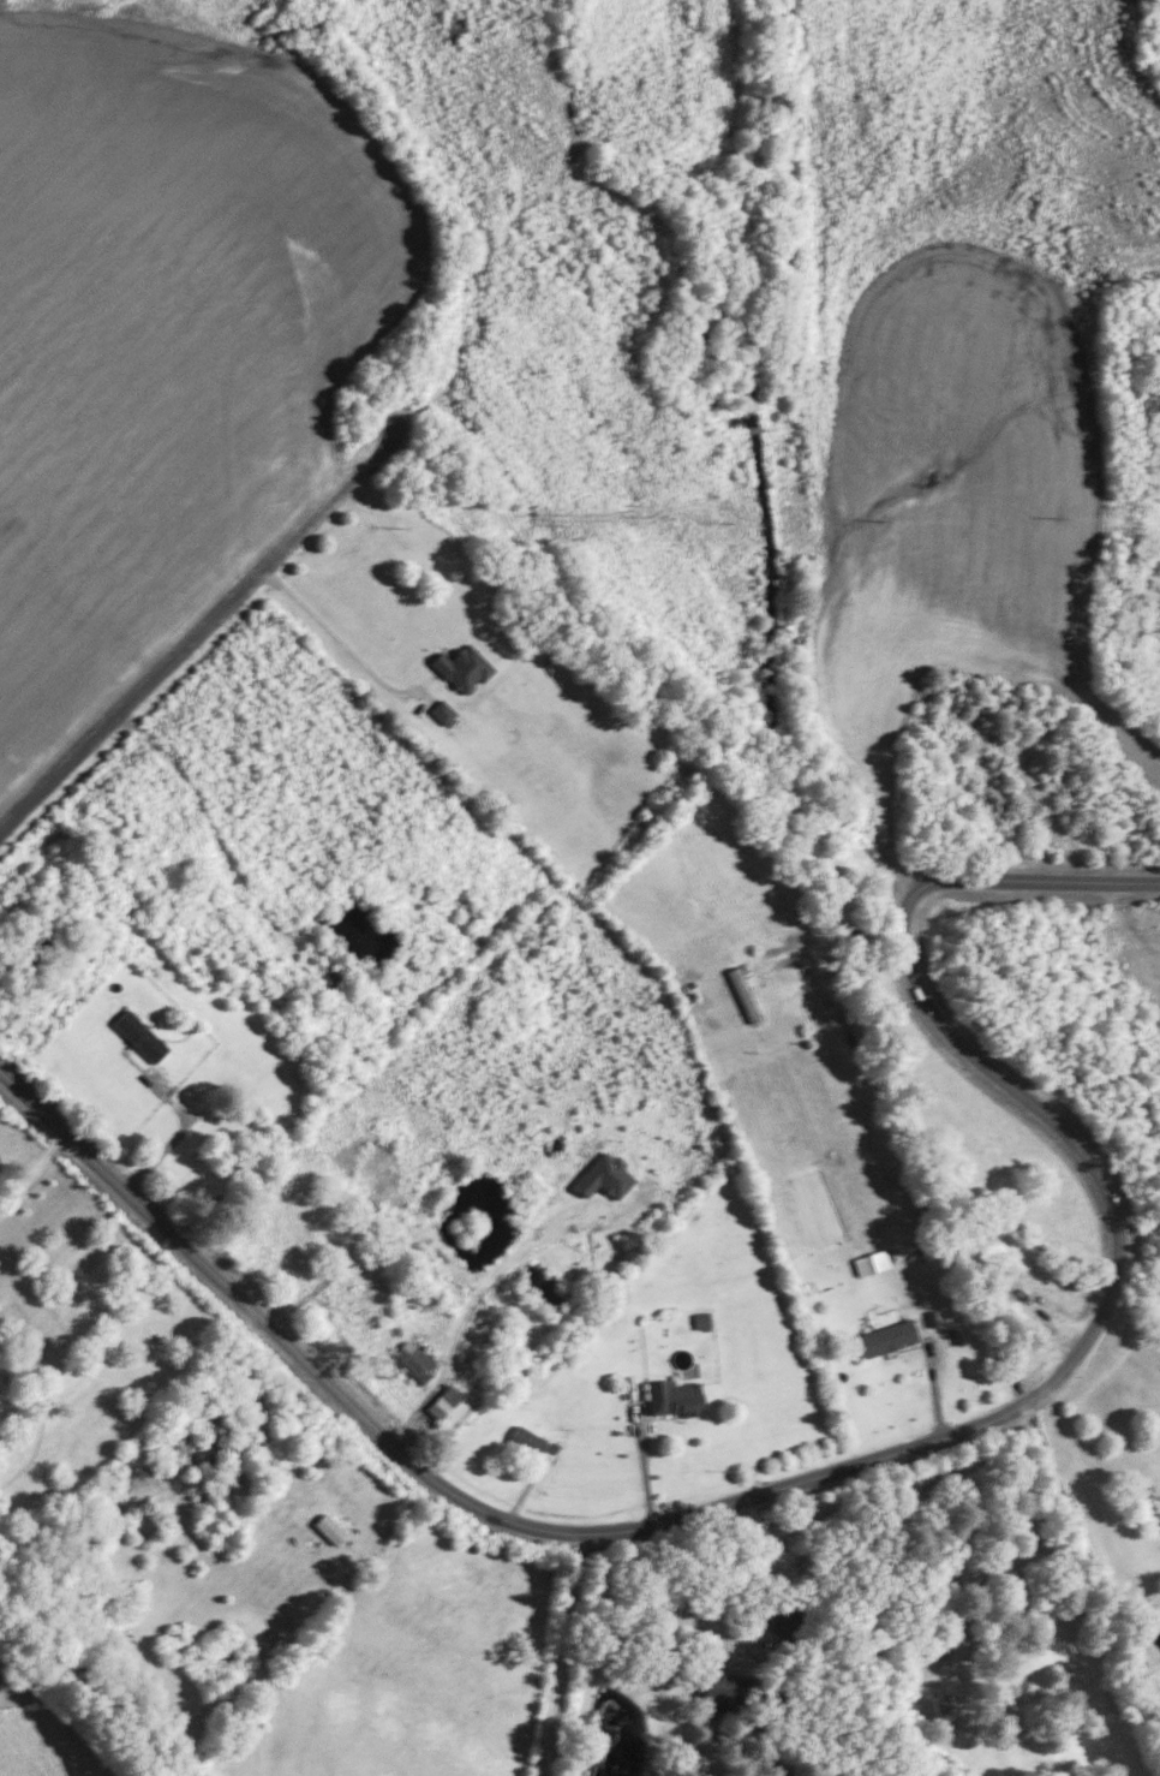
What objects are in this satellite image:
road: (334, 636)
building: (462, 667)
road: (163, 671)
building: (442, 710)
road: (1021, 880)
road: (831, 936)
building: (139, 1035)
road: (31, 1170)
building: (603, 1175)
building: (869, 1261)
building: (885, 1336)
road: (452, 1339)
building: (413, 1358)
road: (934, 1378)
building: (672, 1396)
building: (450, 1406)
building: (527, 1440)
road: (1090, 1455)
road: (647, 1462)
road: (737, 1500)
building: (329, 1527)
building: (718, 1691)

